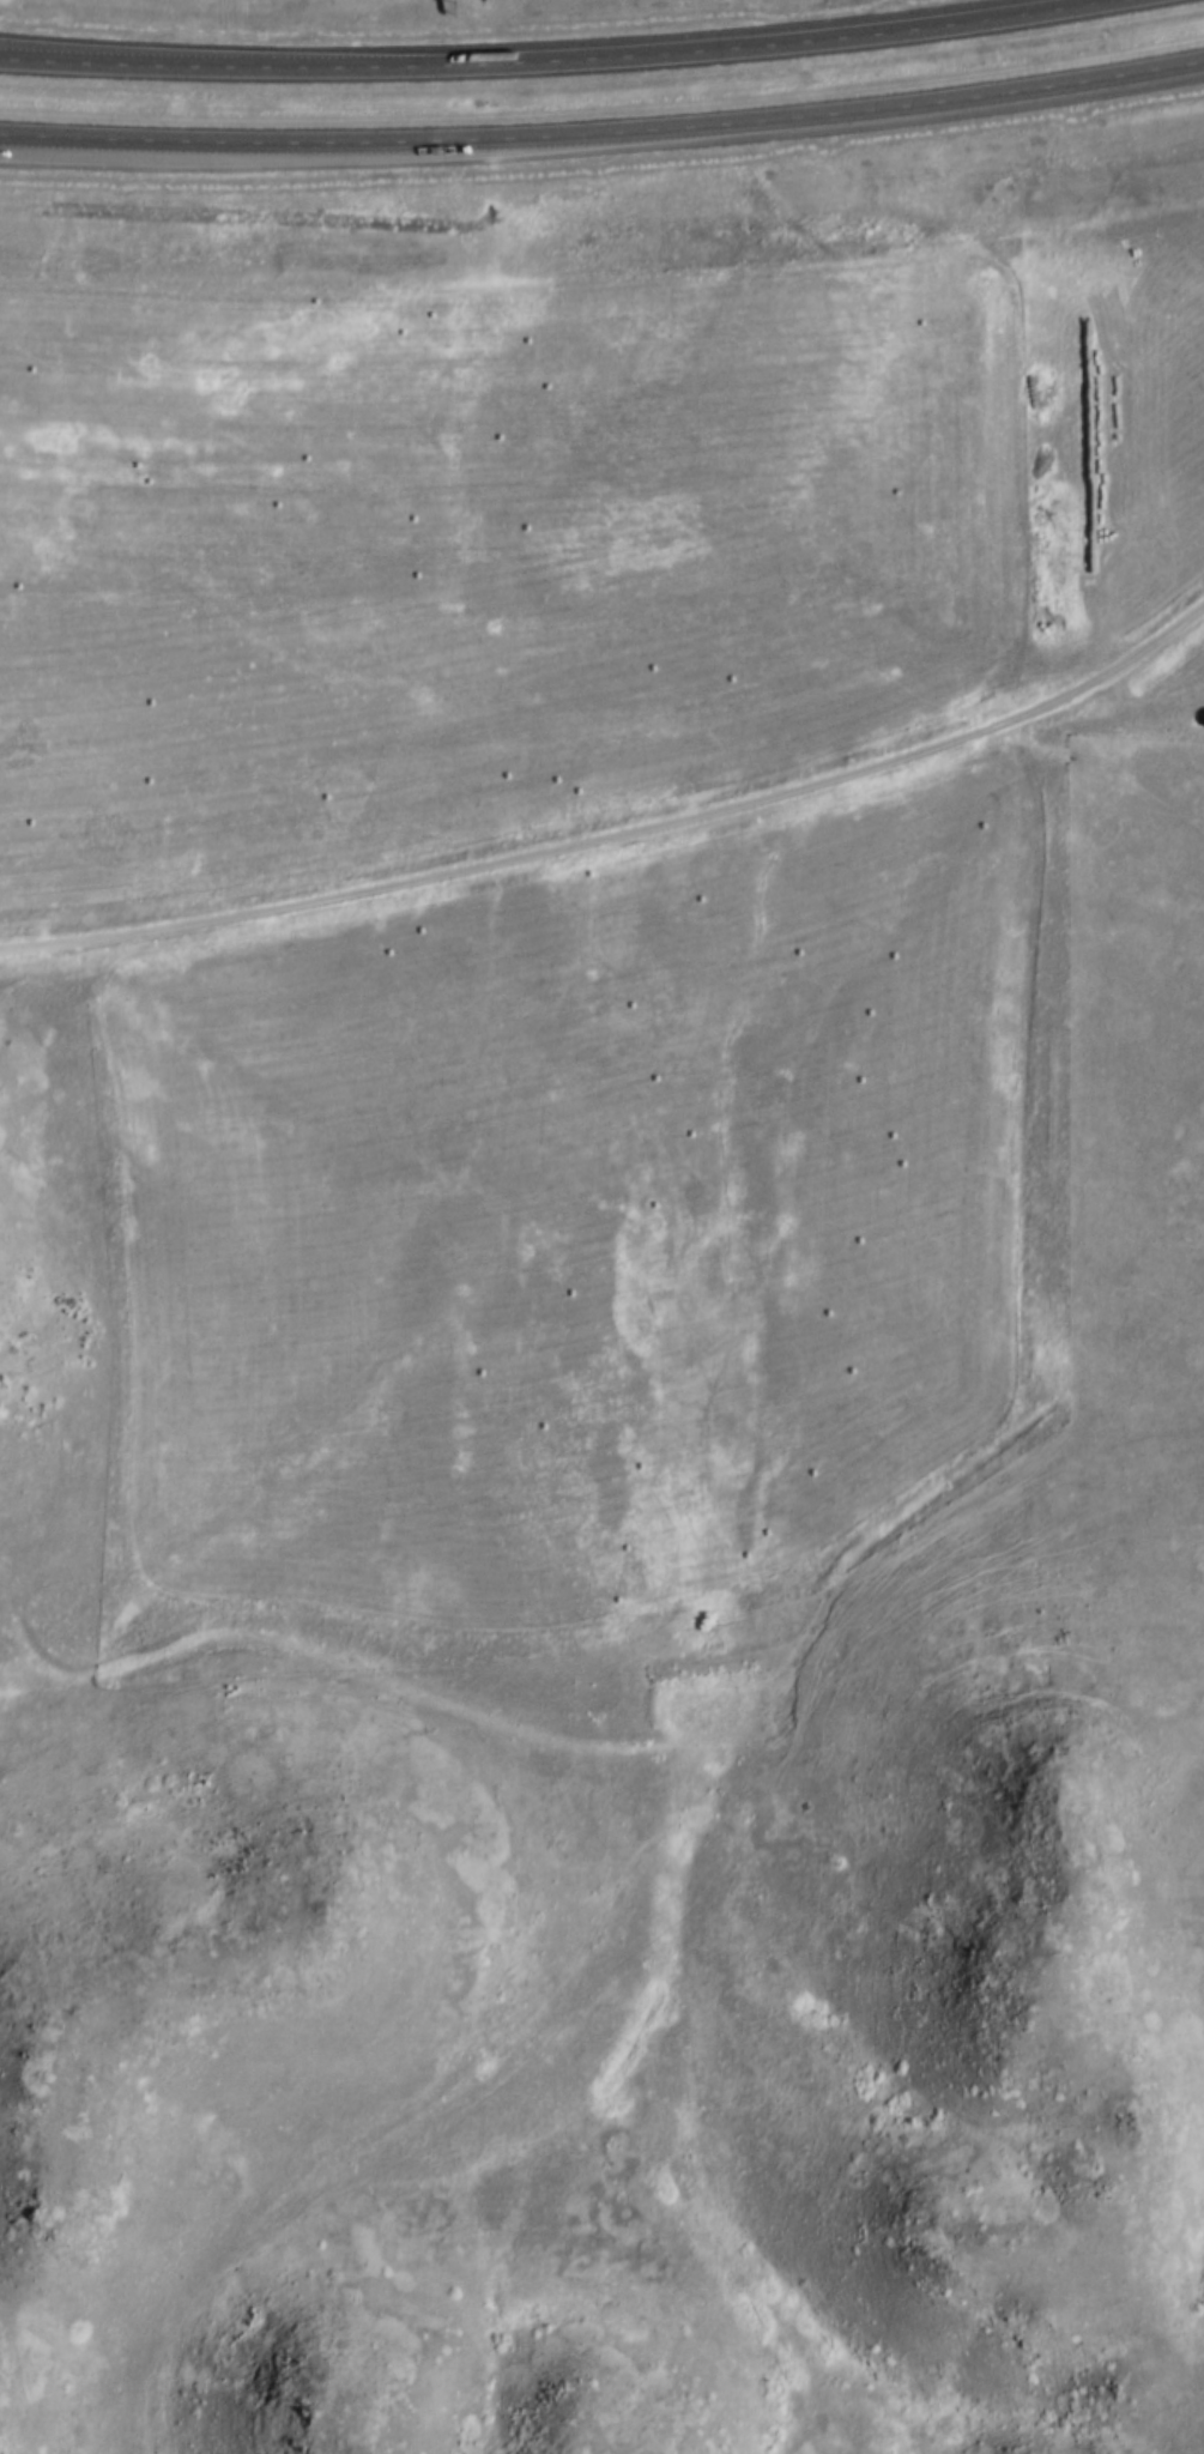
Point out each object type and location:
road: (564, 69)
road: (604, 143)
road: (622, 844)

